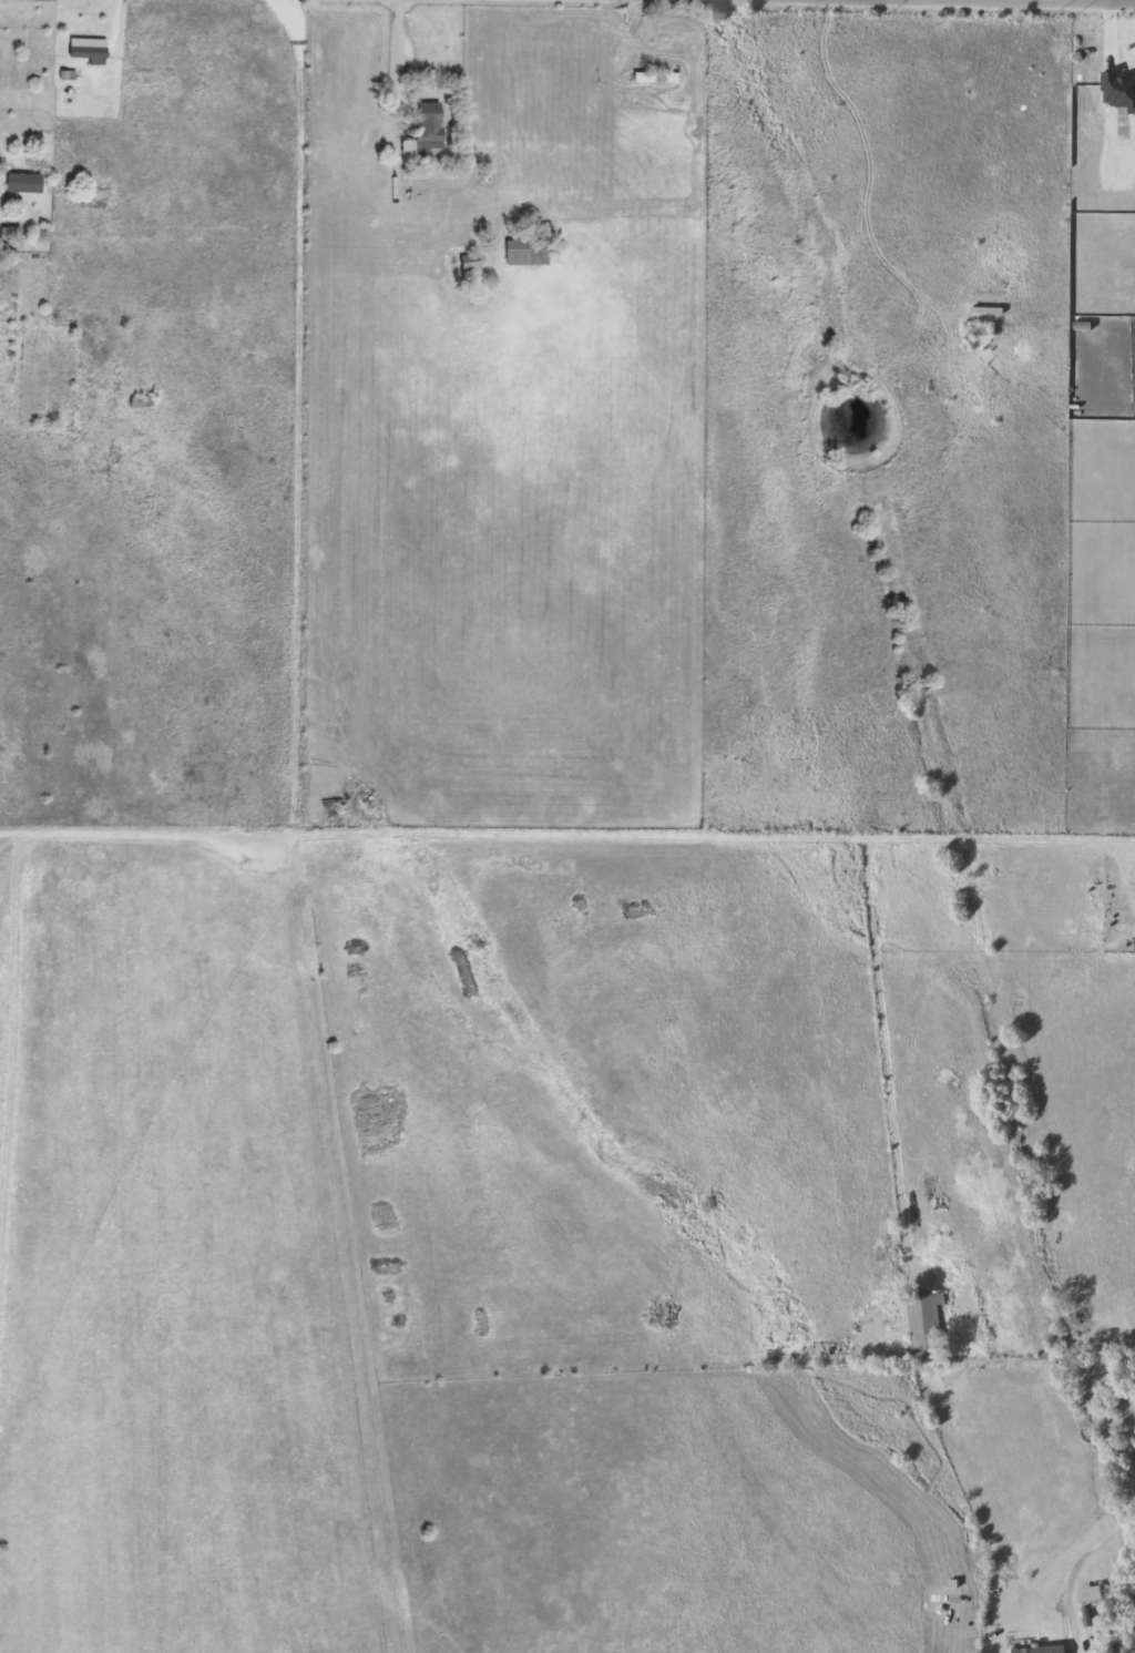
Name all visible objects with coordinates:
road: (1000, 0)
road: (1029, 1)
building: (91, 50)
road: (396, 64)
building: (656, 76)
building: (428, 130)
building: (27, 183)
building: (528, 252)
building: (980, 328)
building: (142, 401)
road: (298, 415)
road: (147, 834)
road: (715, 835)
road: (883, 1055)
building: (924, 1324)
road: (1080, 1558)
building: (1042, 1649)

